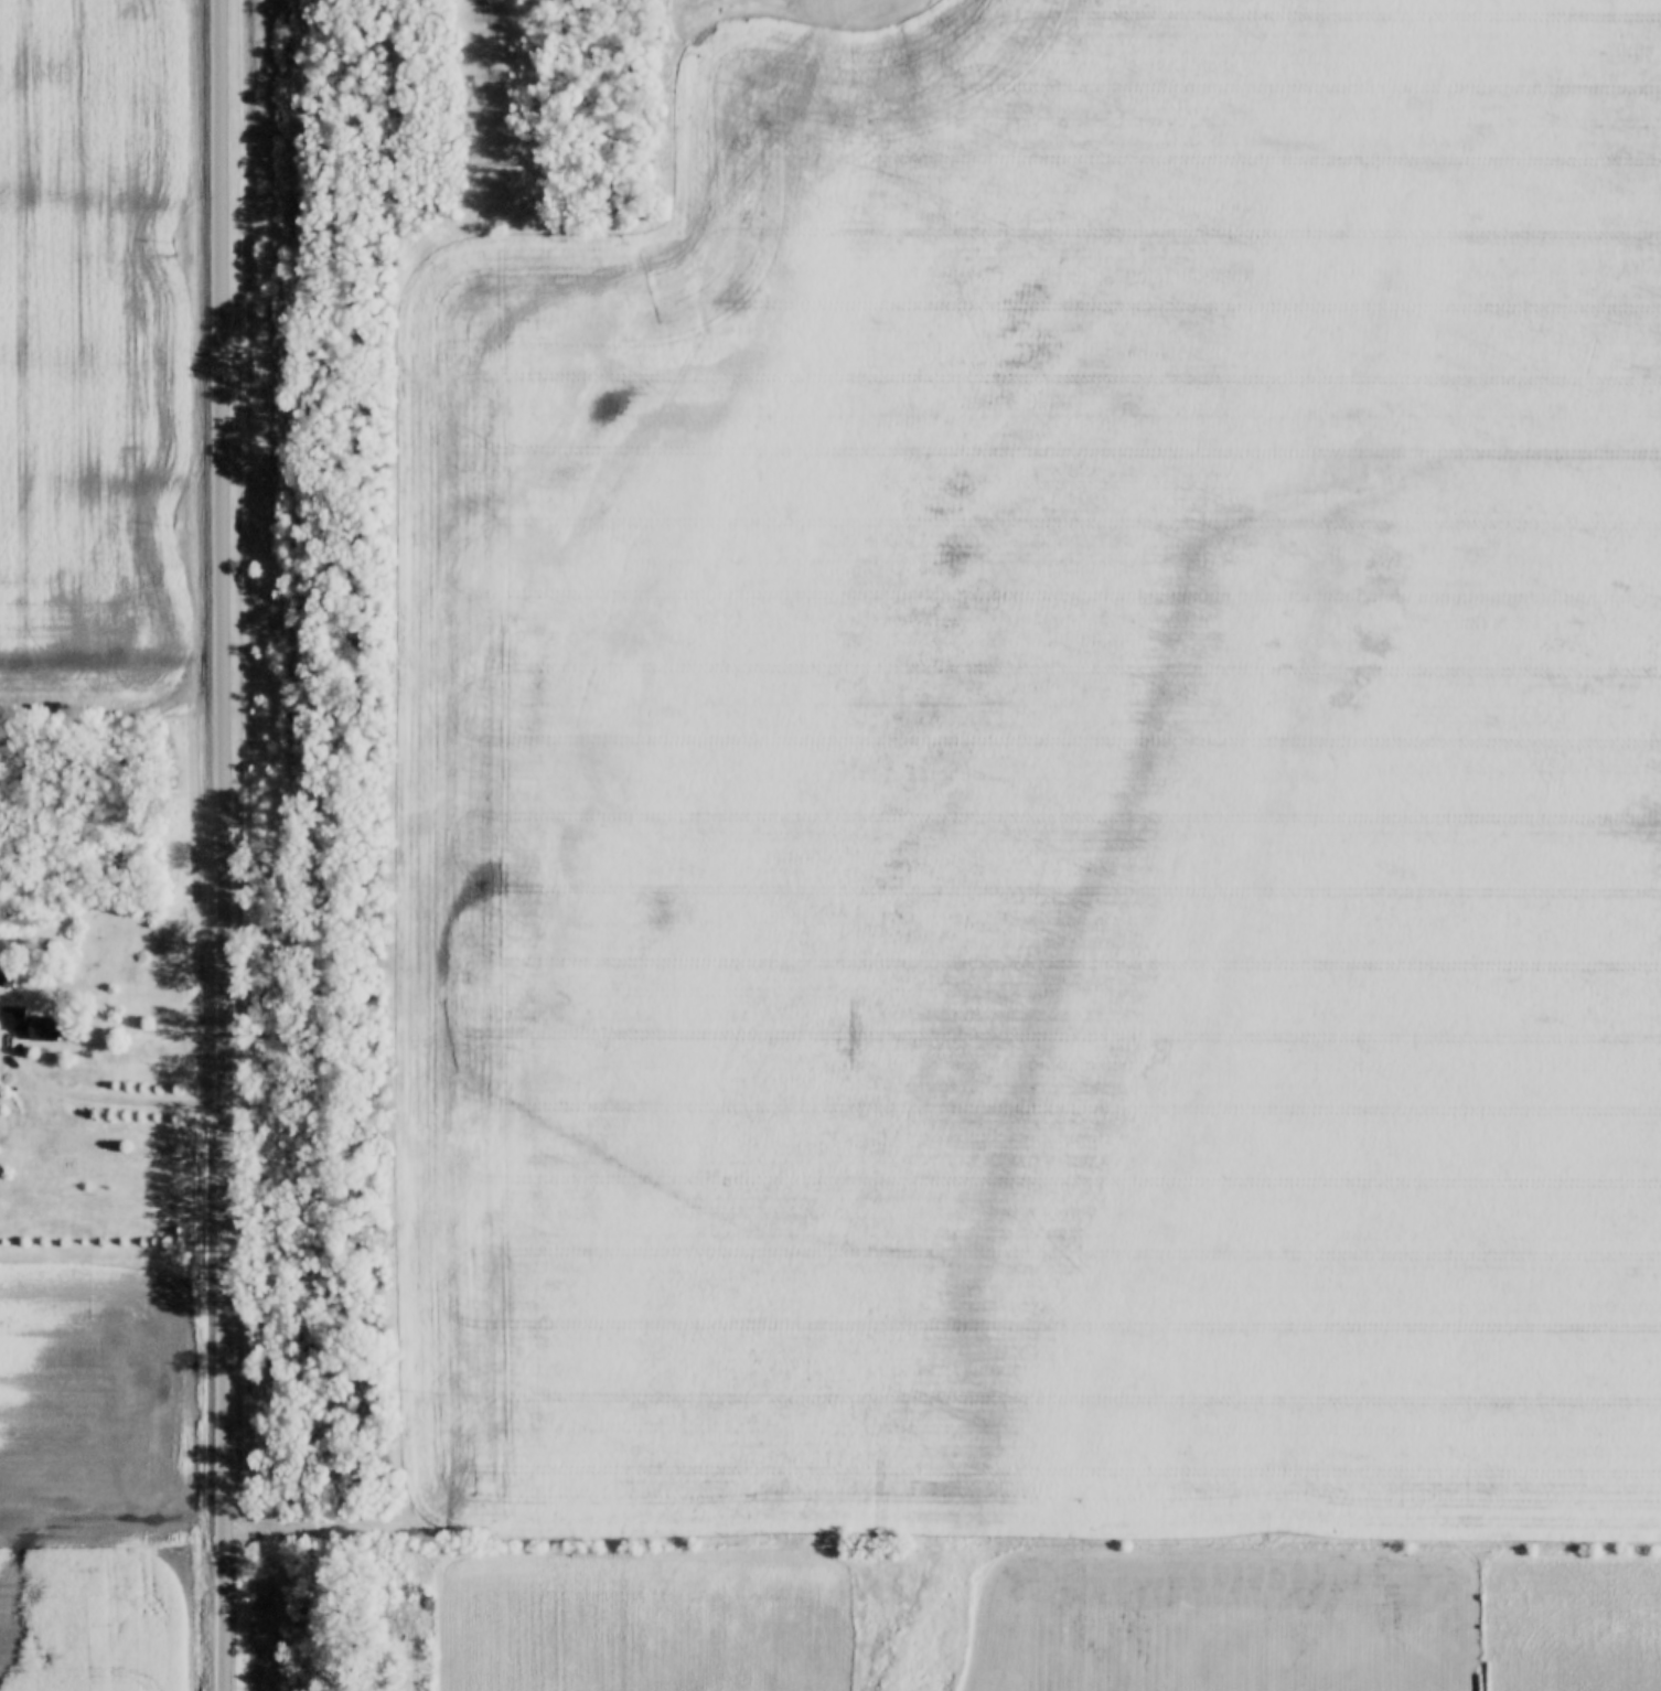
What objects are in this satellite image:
road: (223, 845)
building: (12, 1018)
building: (50, 1028)
road: (112, 1104)

